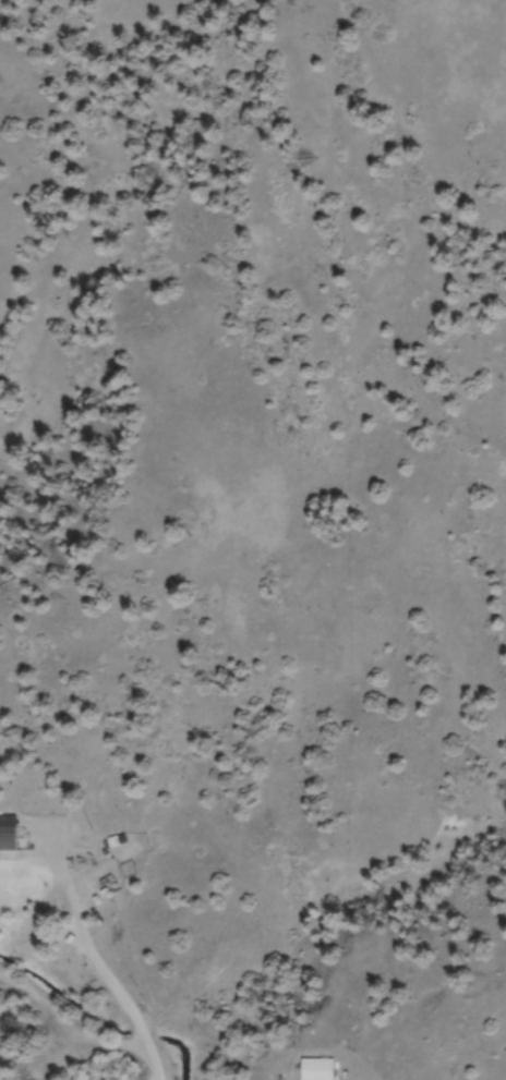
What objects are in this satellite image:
building: (9, 834)
road: (492, 1066)
building: (320, 1069)

